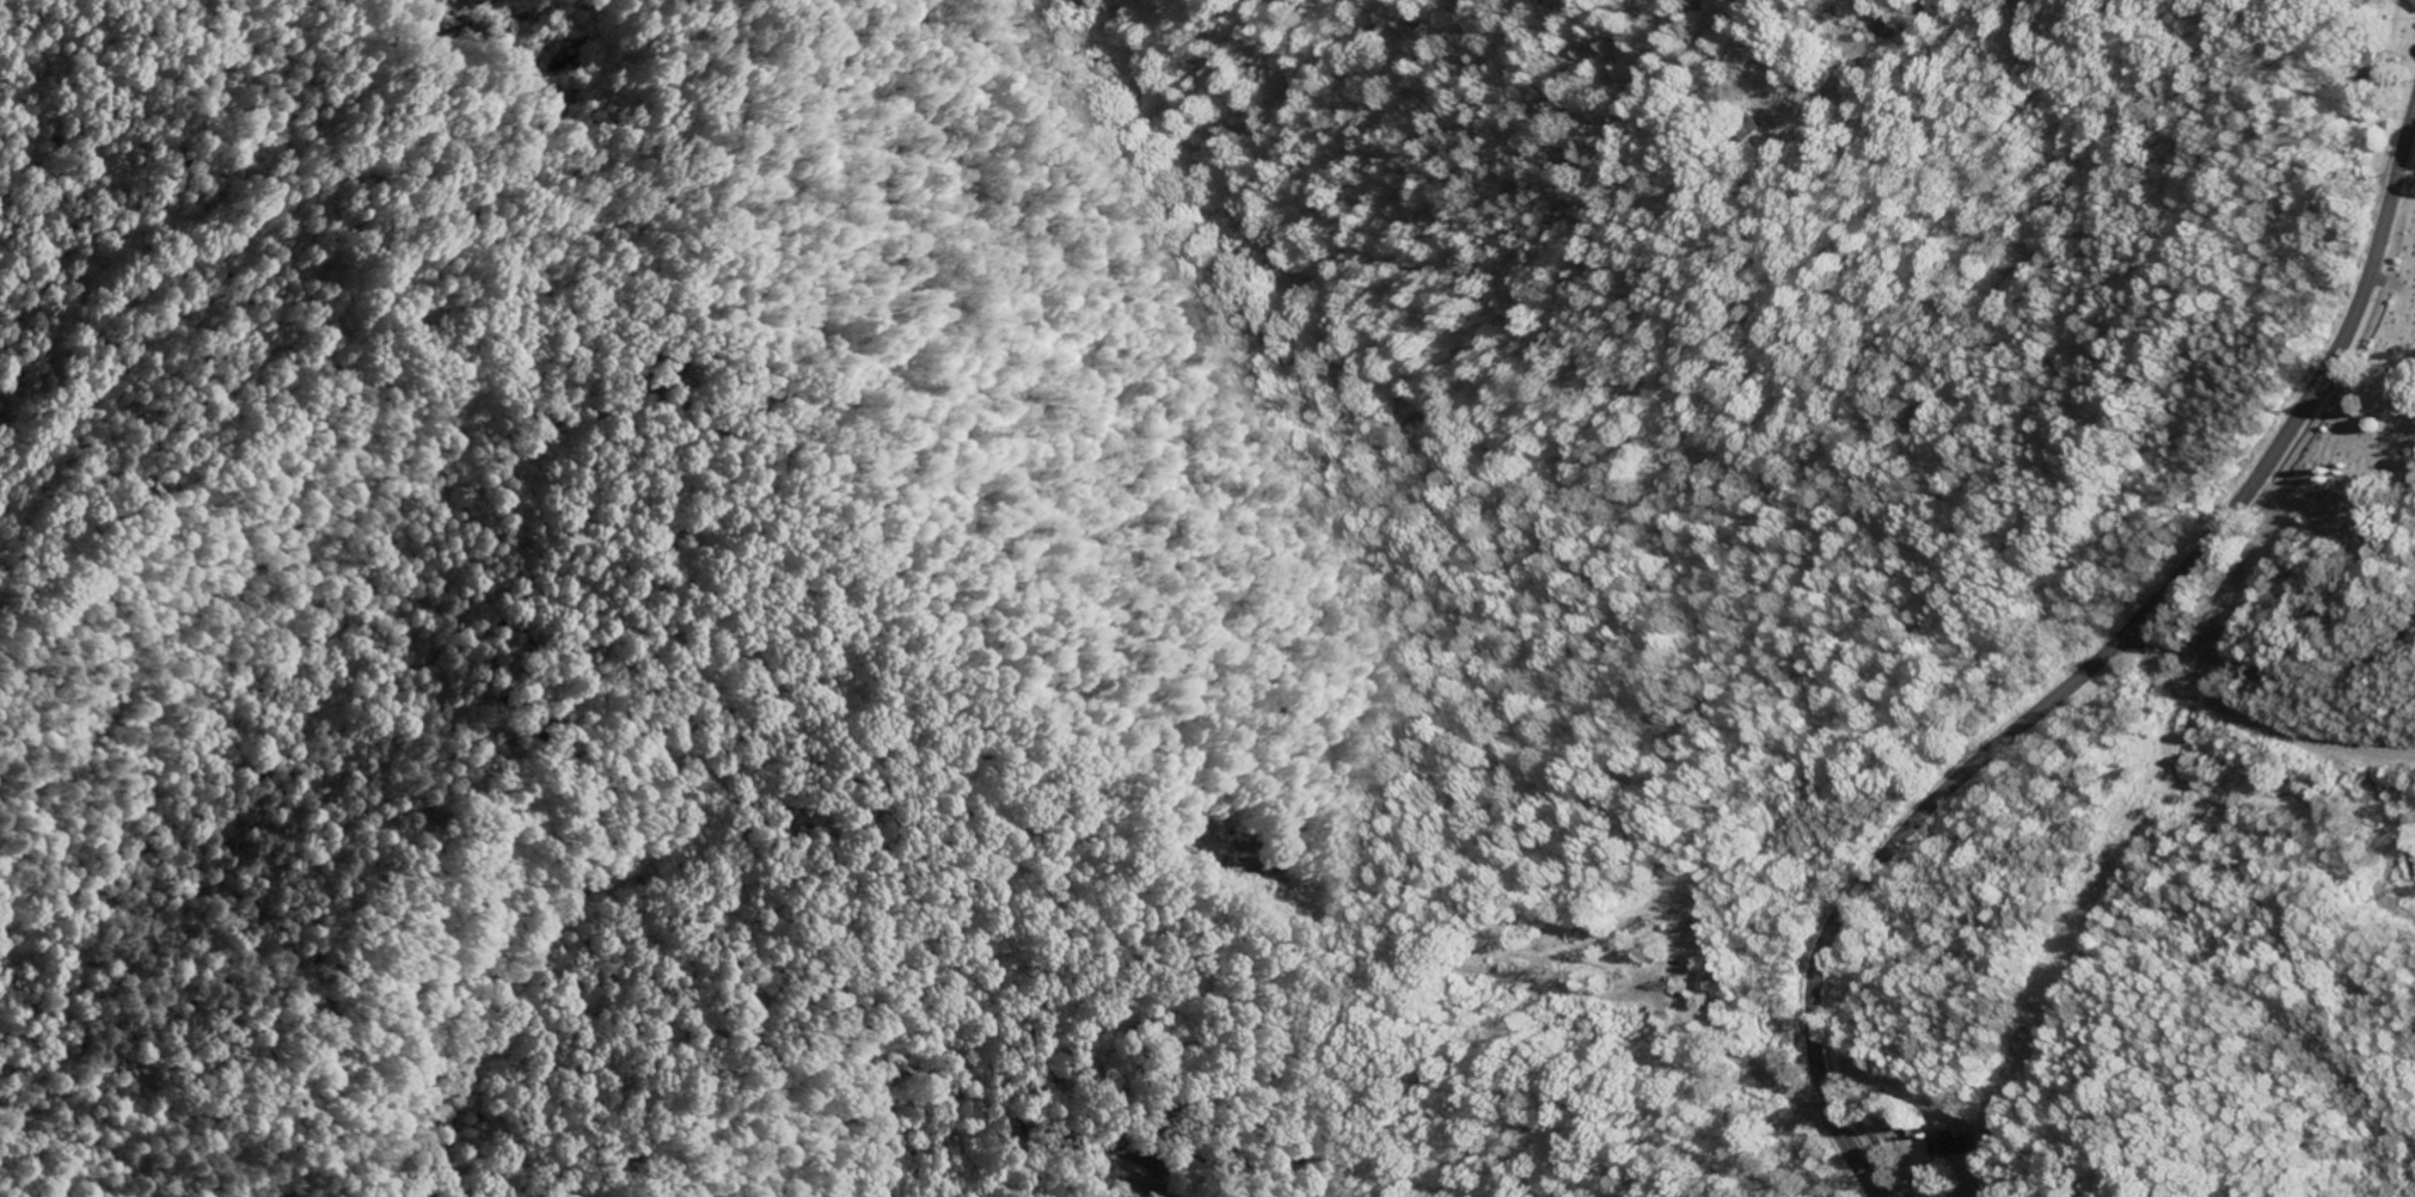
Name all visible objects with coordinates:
building: (2411, 2)
park: (2362, 430)
road: (2094, 664)
road: (2263, 708)
building: (1708, 981)
building: (1945, 1146)

